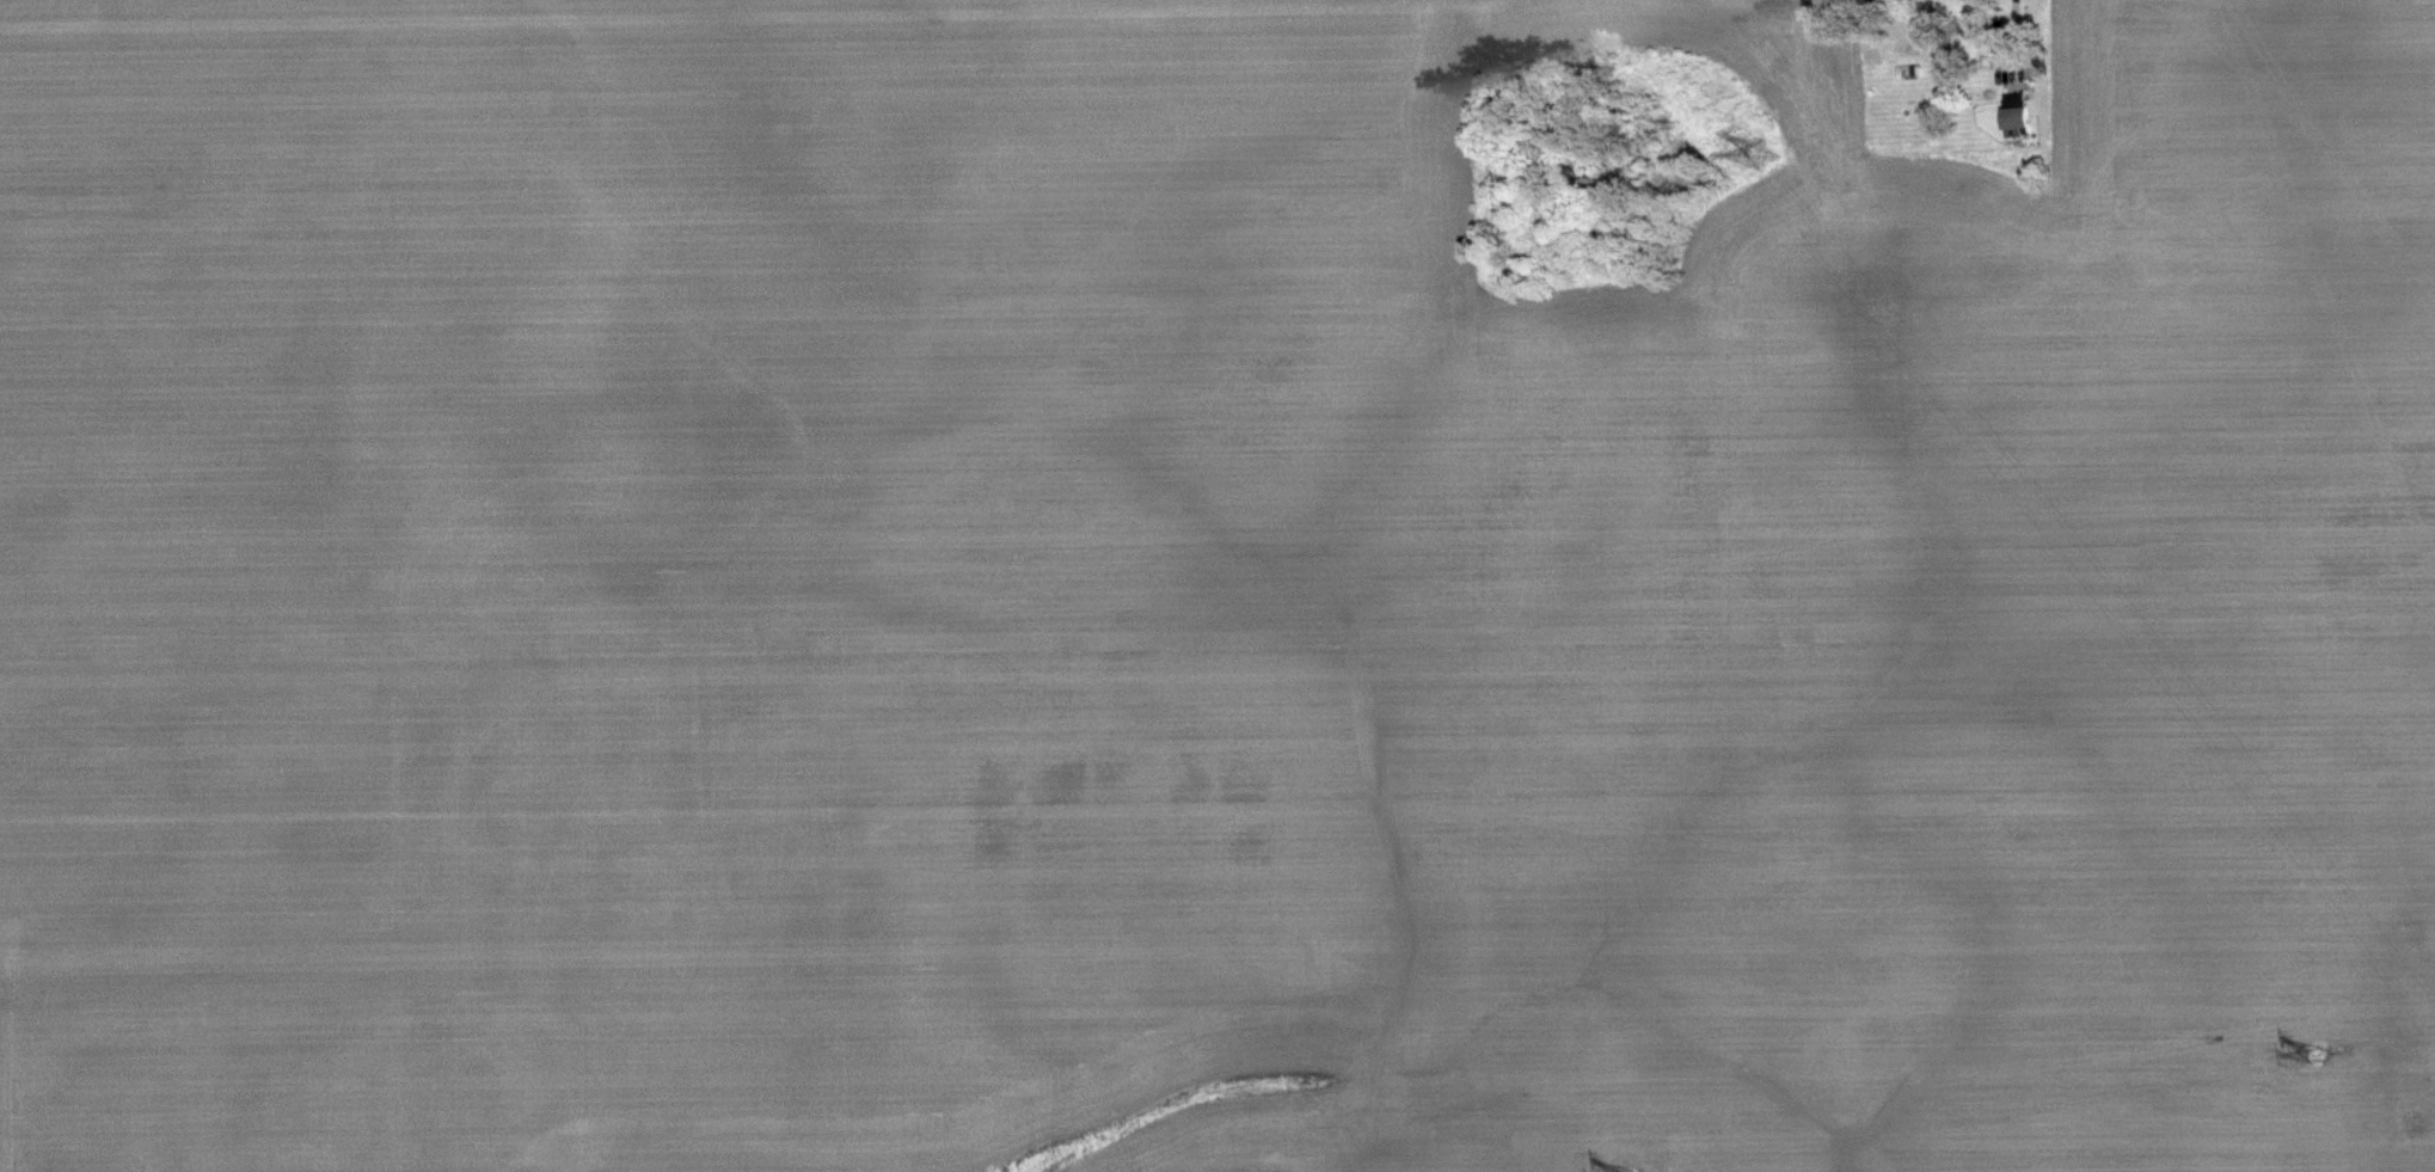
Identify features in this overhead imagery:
road: (2017, 27)
building: (2020, 116)
power tower: (1772, 153)

